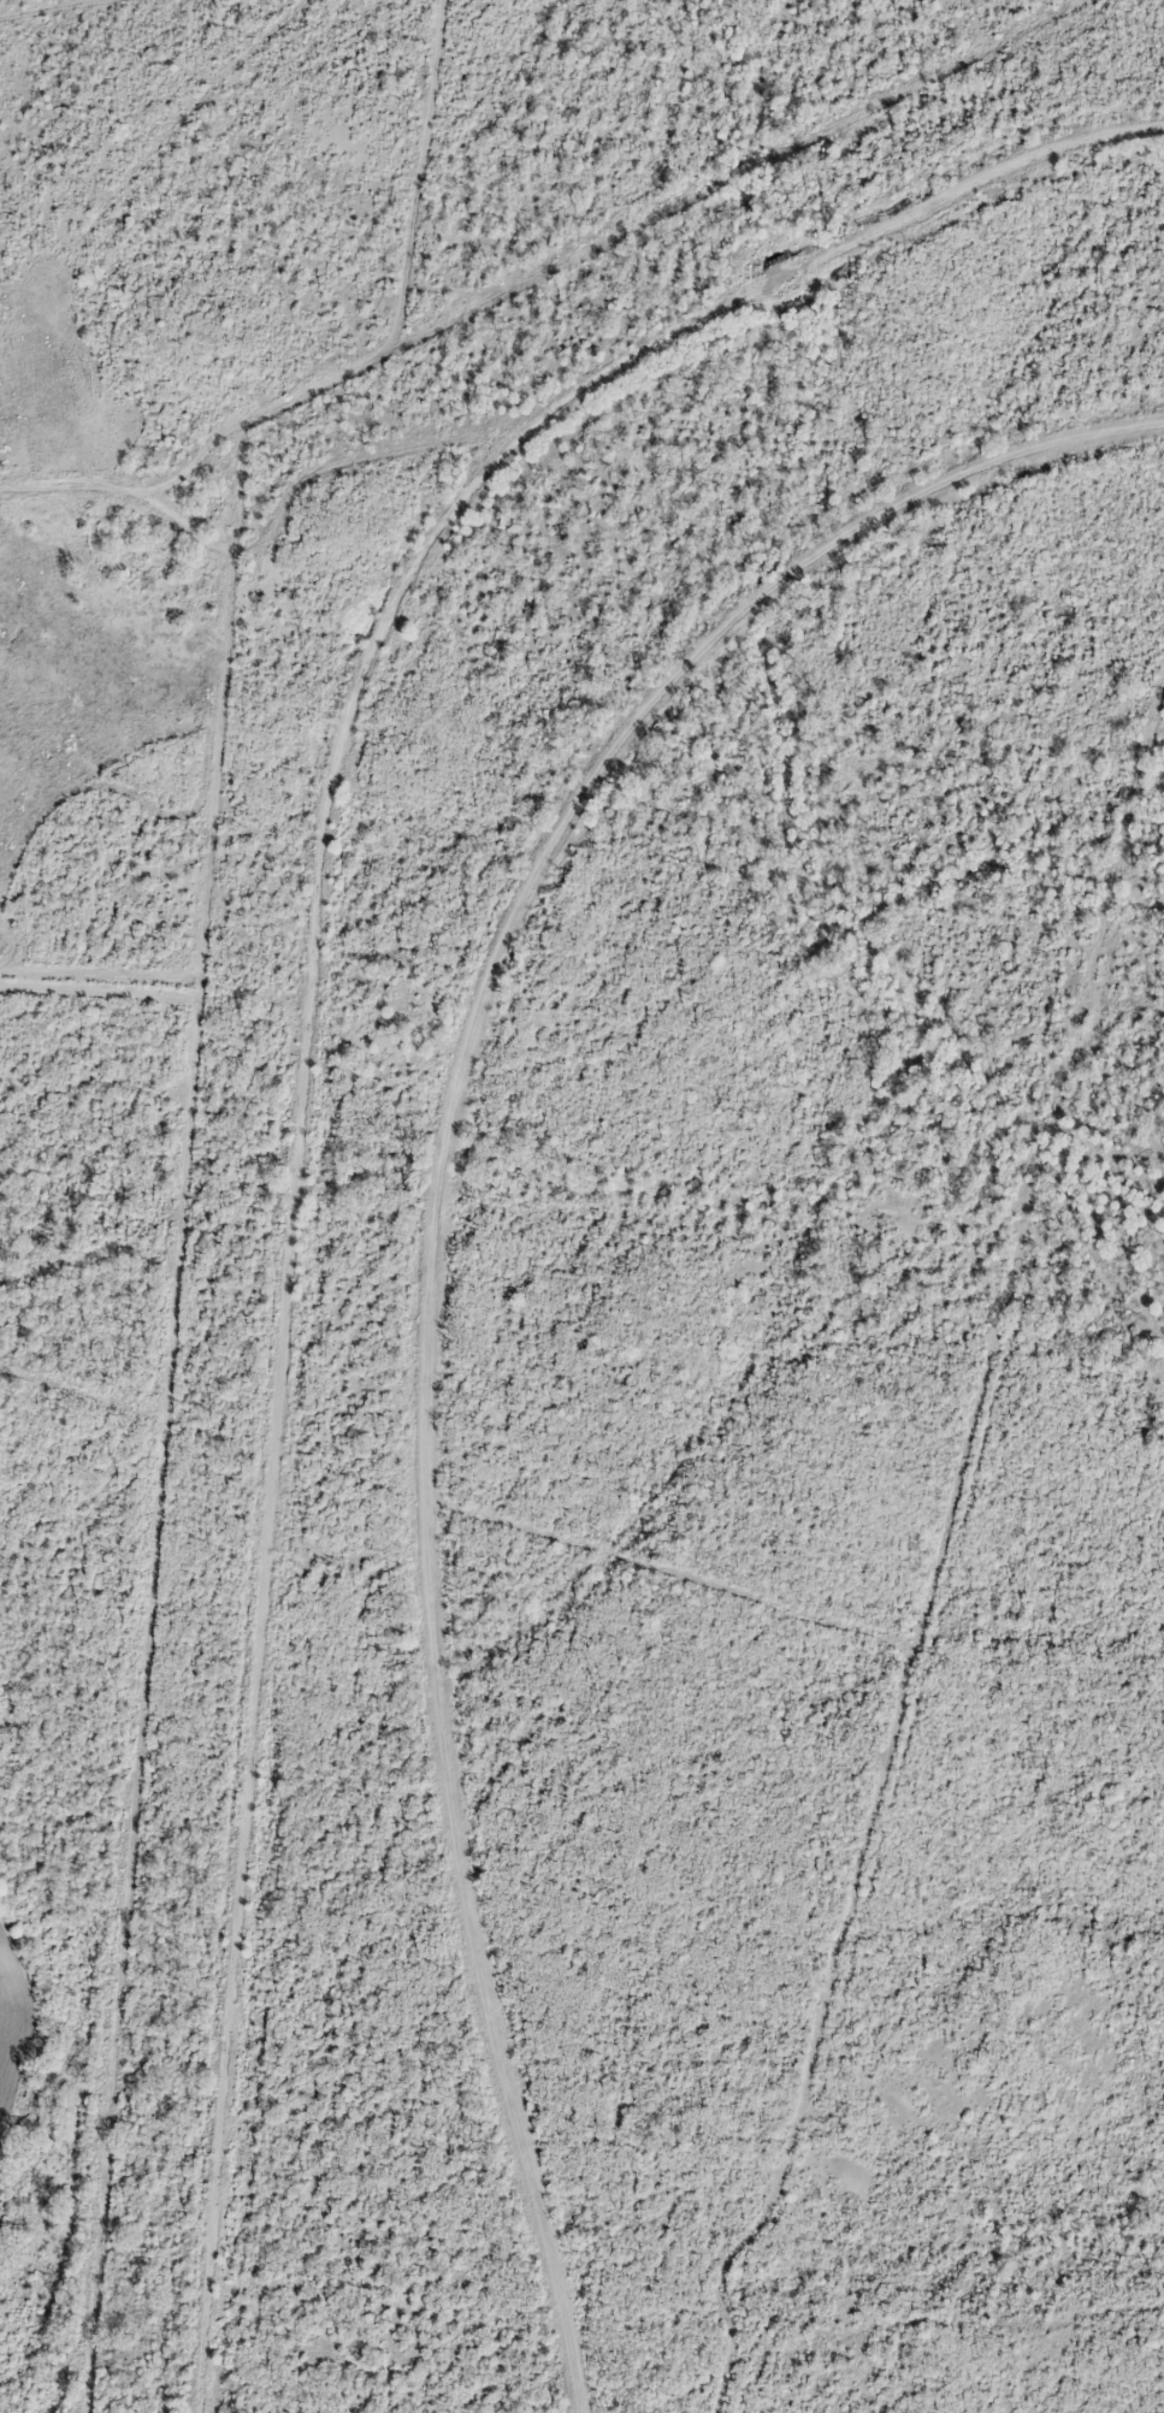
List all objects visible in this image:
road: (320, 1025)
road: (429, 1237)

